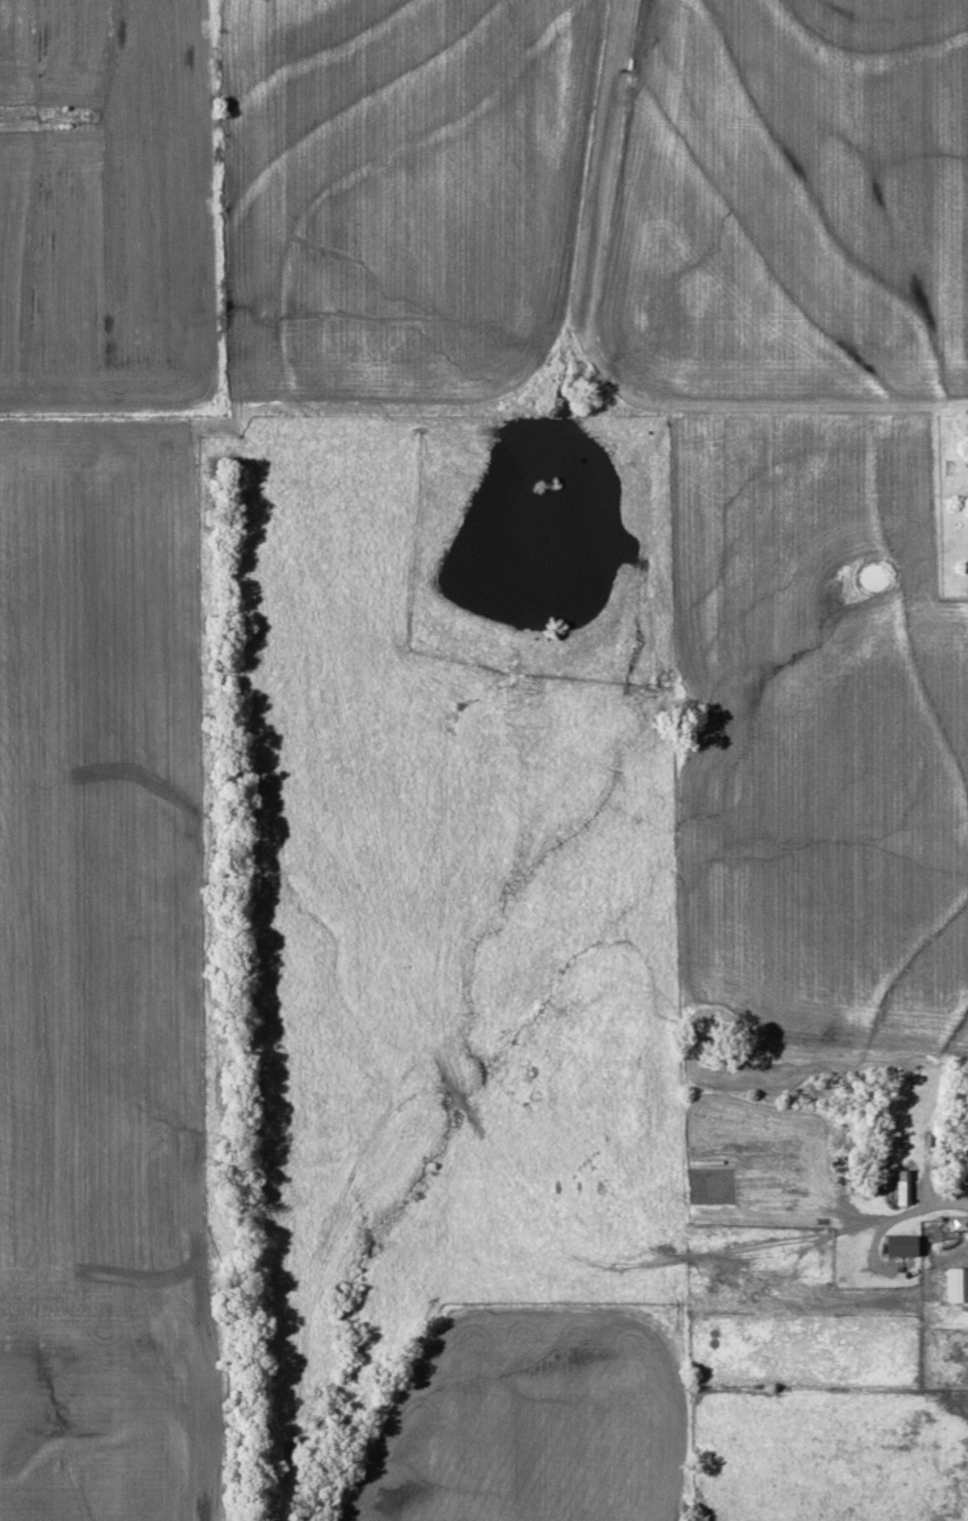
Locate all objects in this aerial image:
building: (956, 1286)

